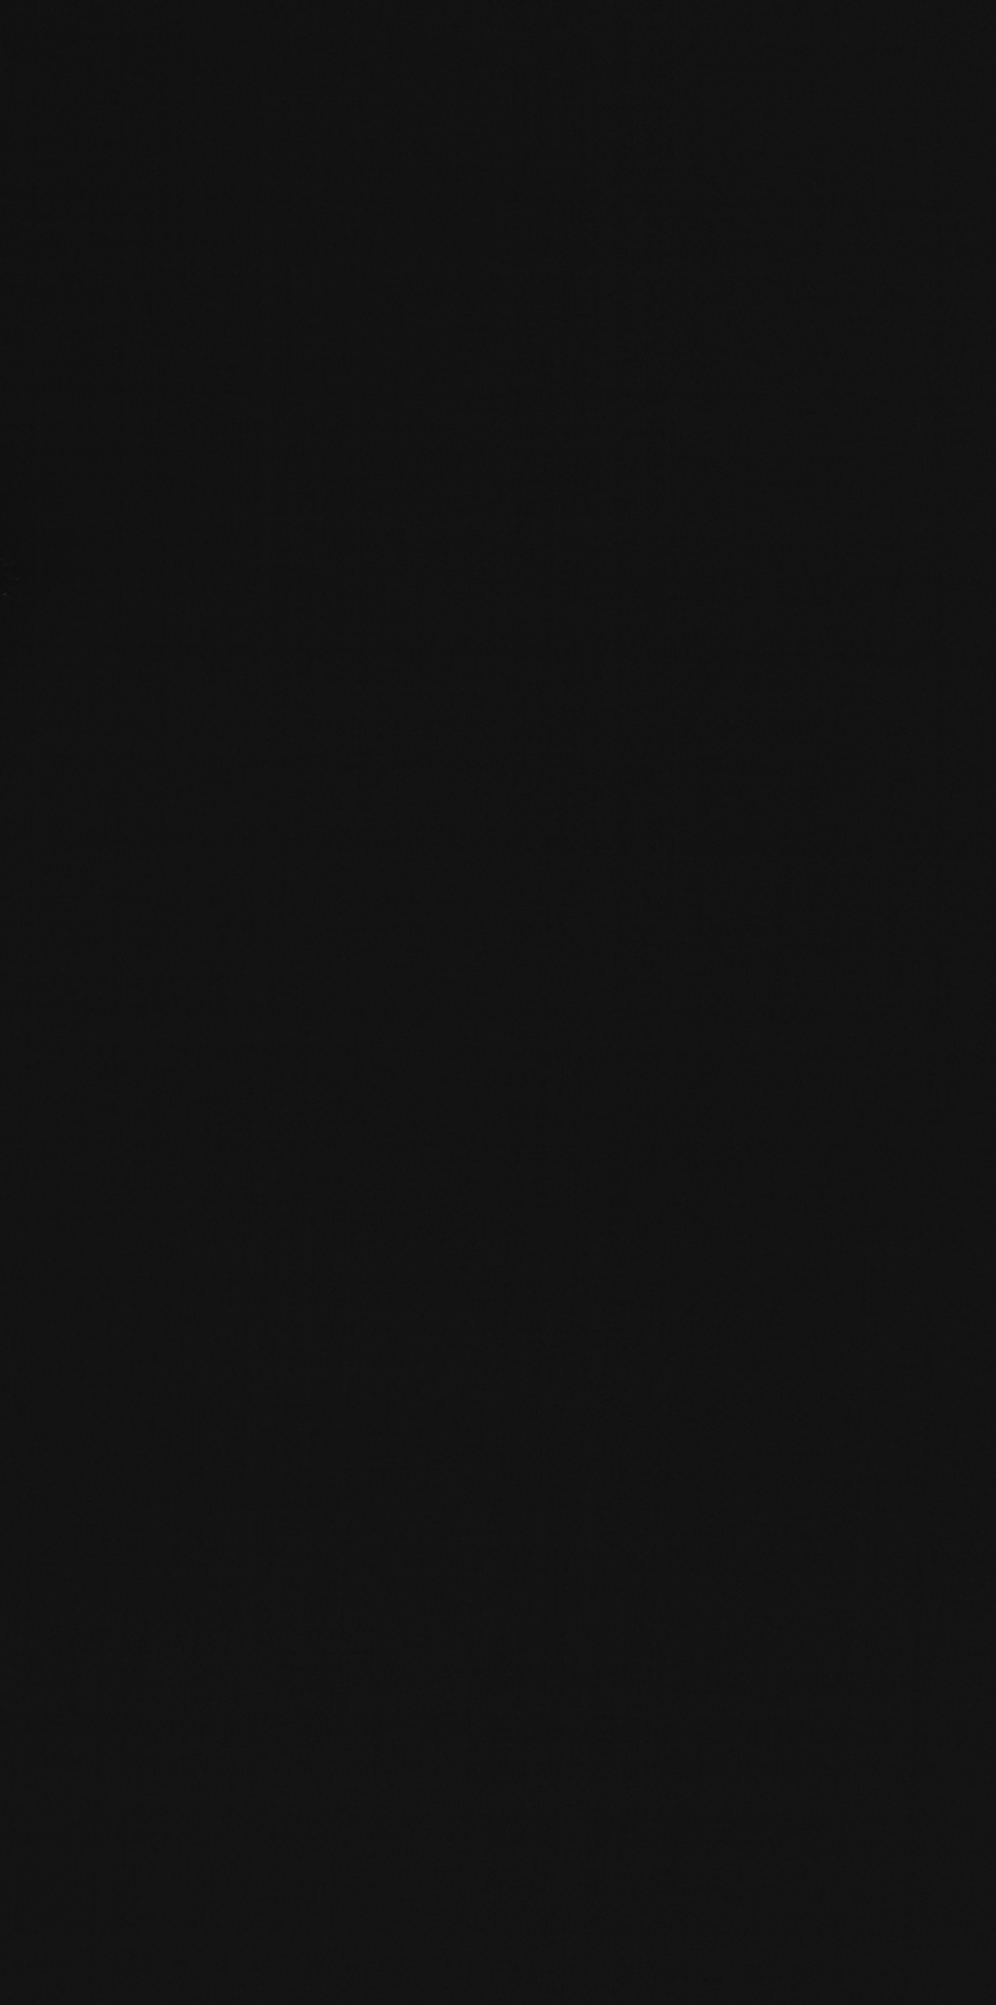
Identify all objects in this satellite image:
river: (882, 136)

